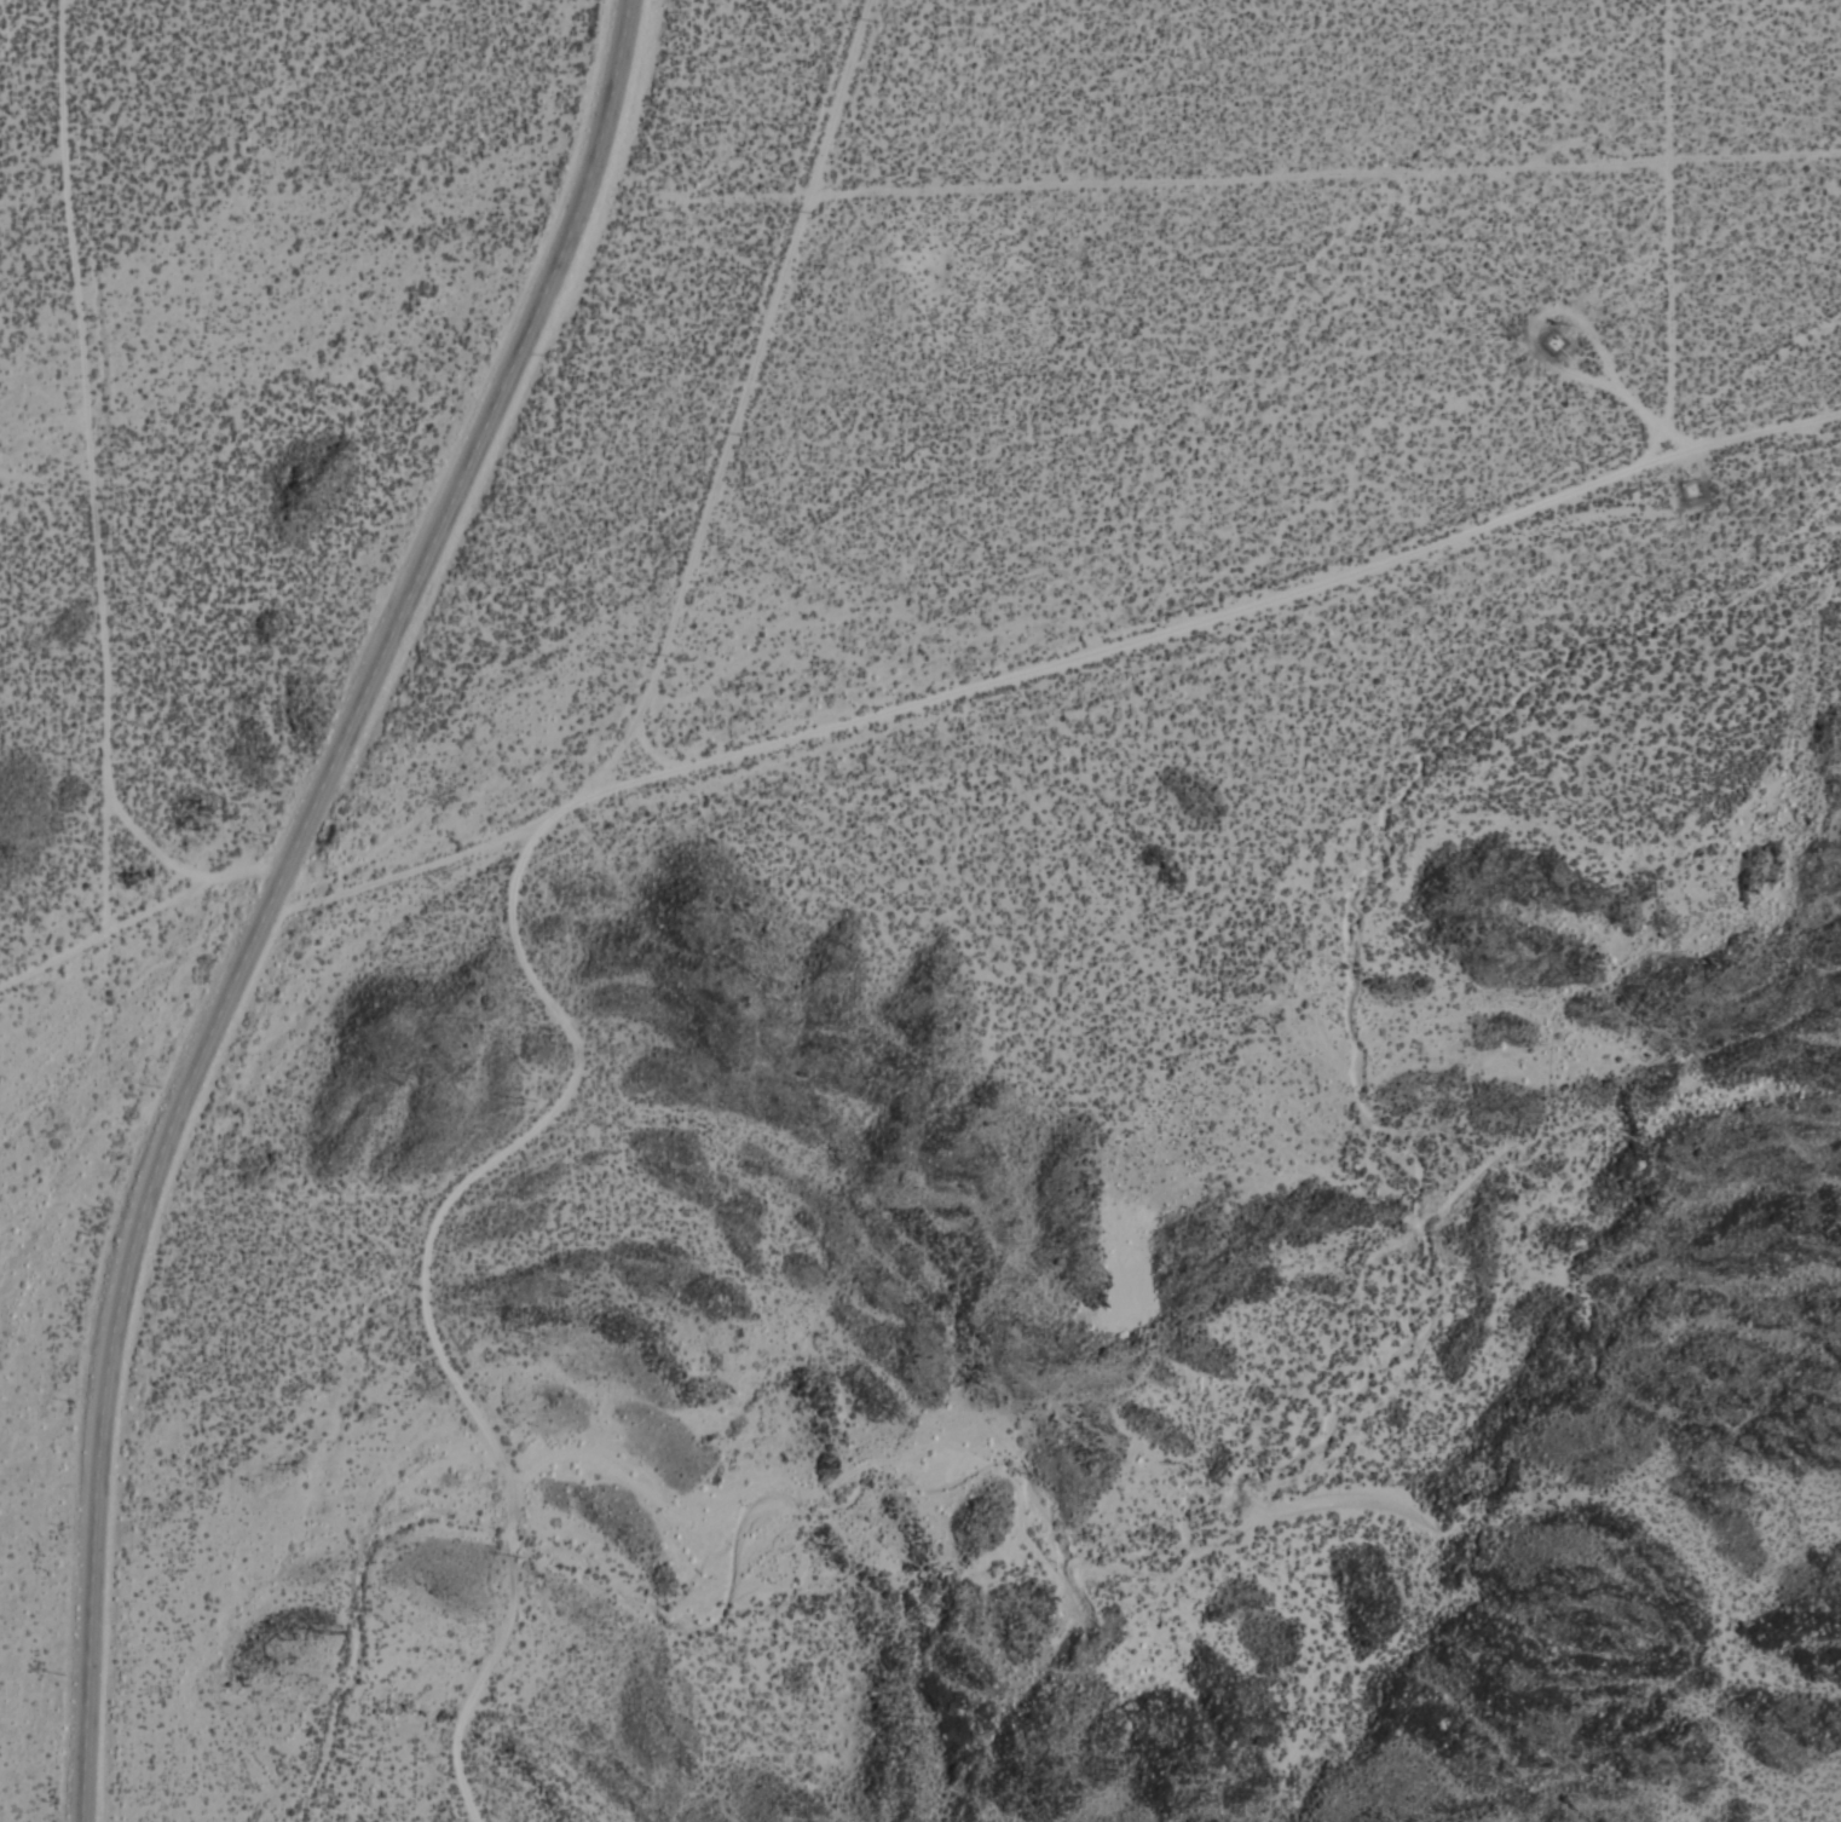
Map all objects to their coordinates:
road: (1328, 171)
road: (1676, 227)
road: (752, 393)
road: (1714, 443)
road: (103, 466)
road: (968, 691)
road: (160, 847)
road: (276, 890)
road: (145, 921)
road: (427, 1298)

